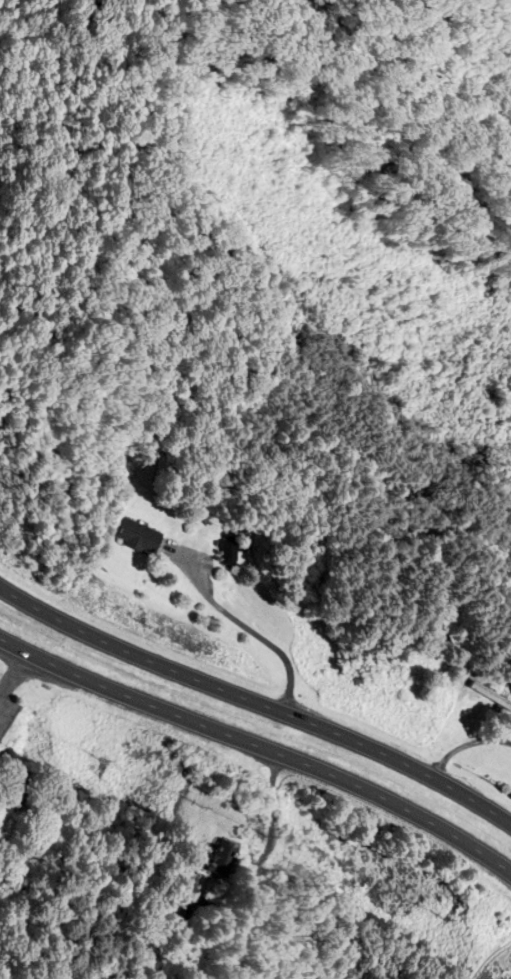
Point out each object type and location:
building: (144, 537)
building: (234, 553)
road: (248, 627)
building: (504, 688)
road: (257, 701)
road: (260, 745)
road: (464, 745)
building: (224, 859)

